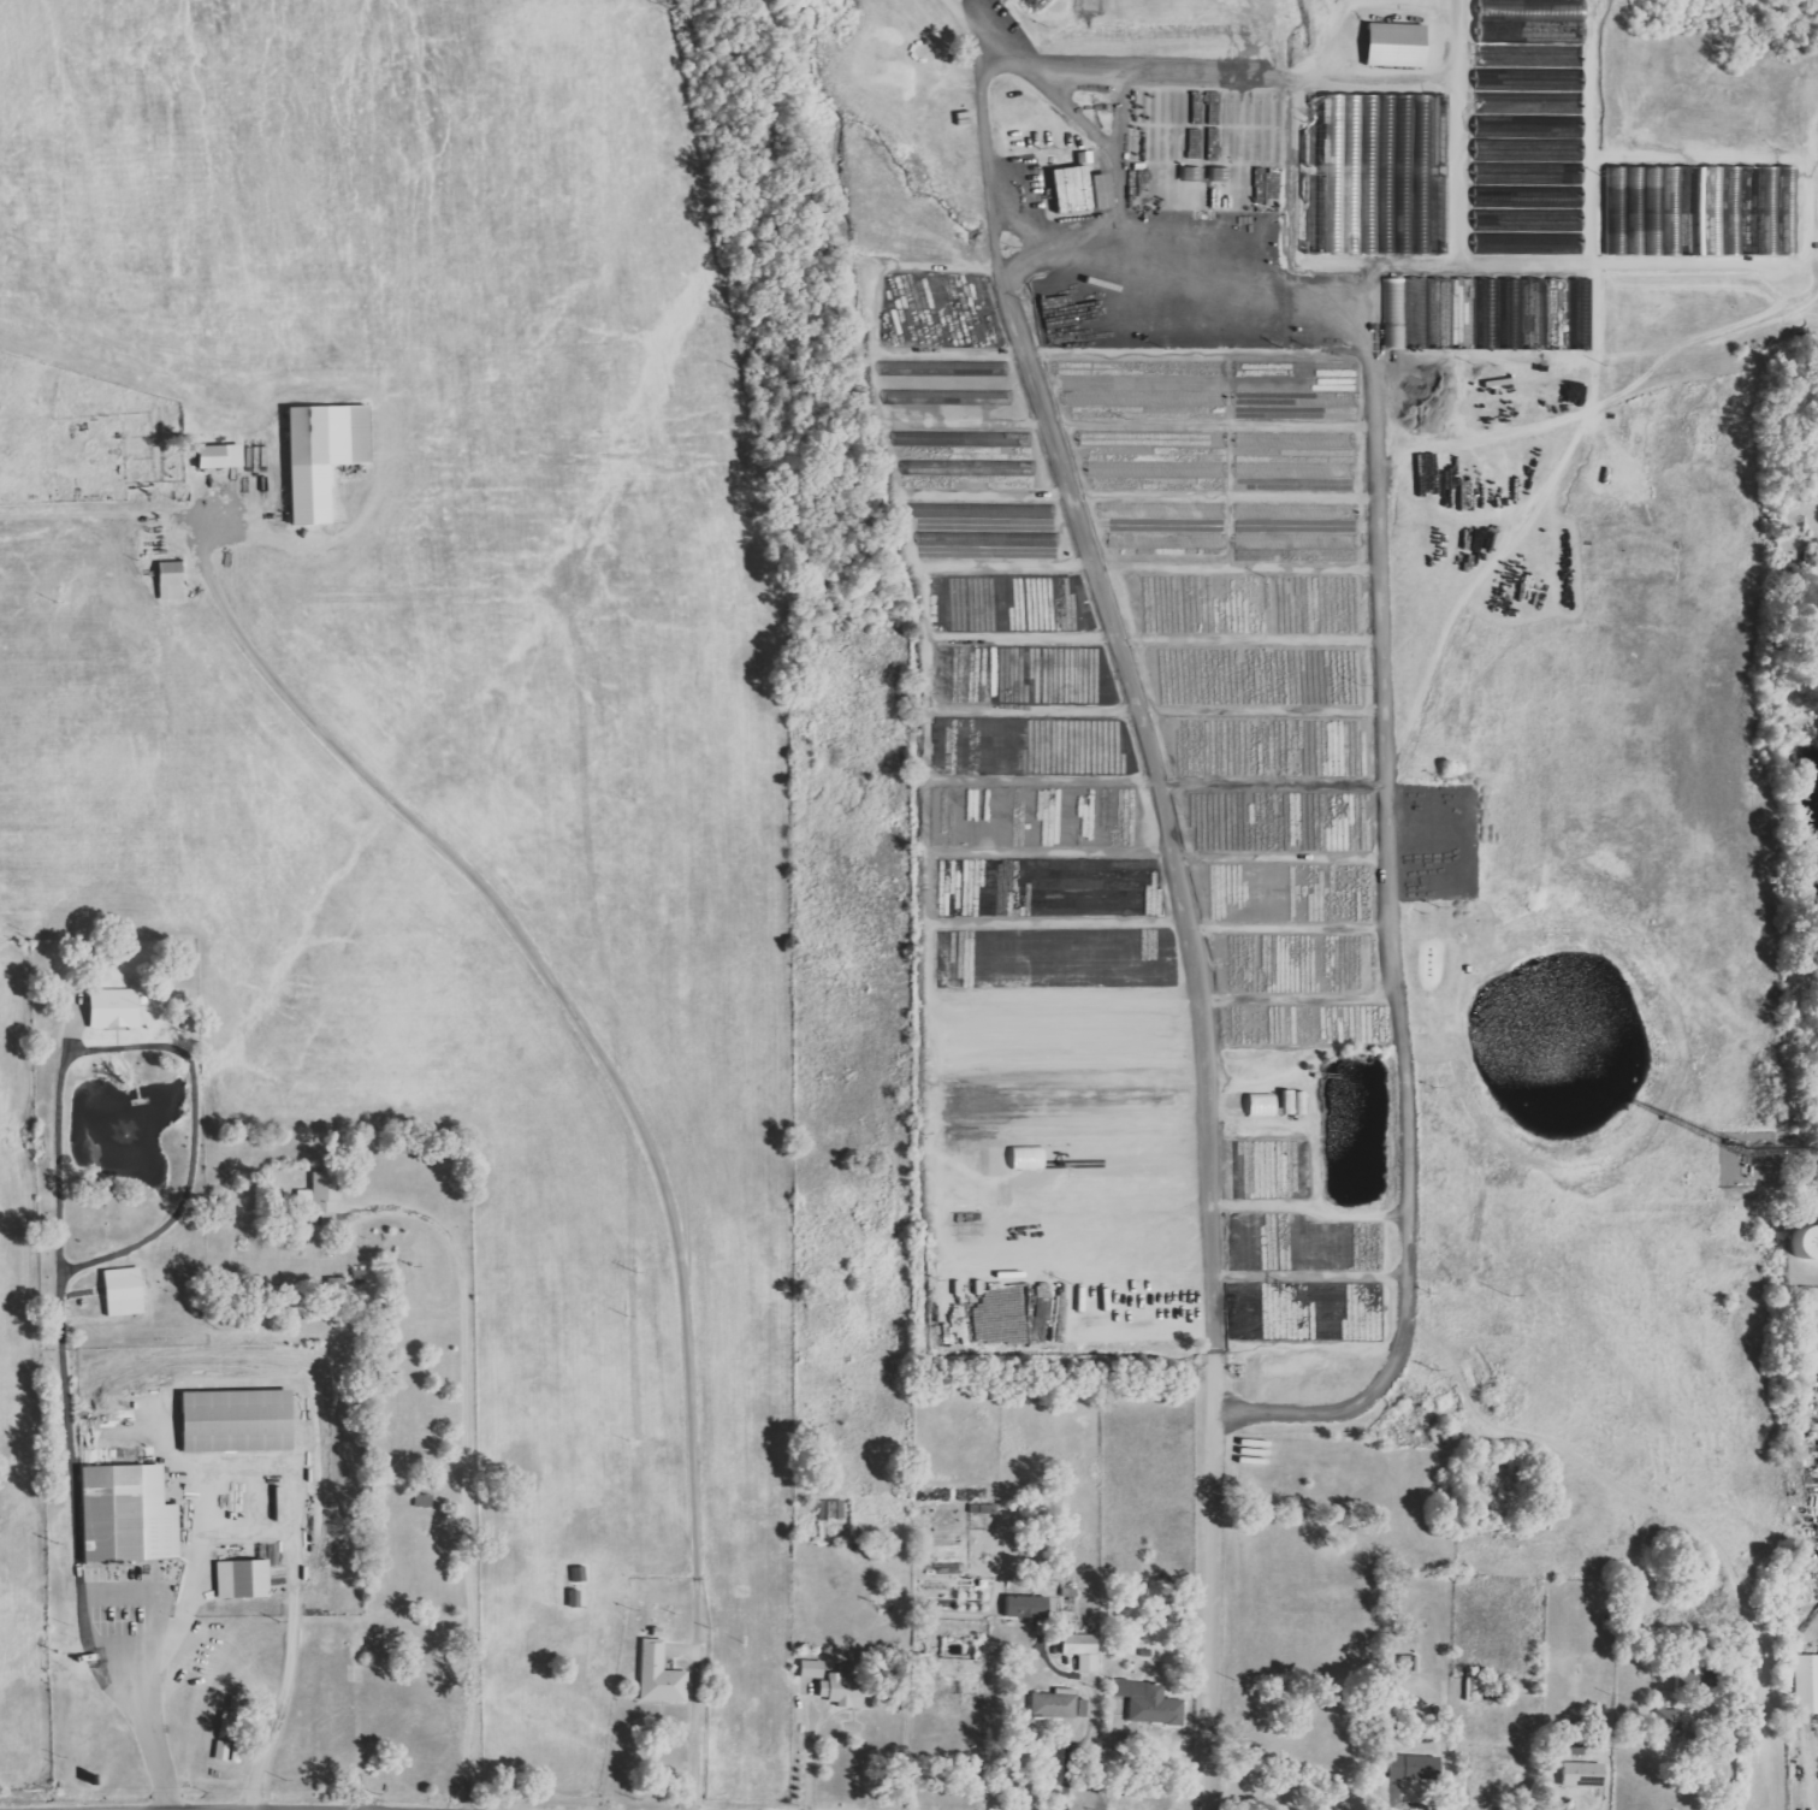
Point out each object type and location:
building: (1032, 1)
building: (1502, 7)
road: (967, 16)
building: (1403, 47)
road: (1260, 112)
road: (1118, 154)
building: (1533, 165)
building: (1381, 175)
building: (1078, 189)
building: (1108, 191)
building: (1706, 212)
building: (1491, 314)
building: (947, 368)
building: (966, 398)
building: (1154, 398)
building: (1298, 440)
building: (328, 455)
building: (225, 456)
building: (957, 468)
building: (1173, 471)
building: (1298, 472)
building: (990, 539)
building: (1208, 542)
building: (1340, 543)
building: (176, 581)
road: (1186, 907)
building: (119, 1008)
road: (591, 1033)
road: (161, 1047)
building: (1298, 1104)
building: (1267, 1106)
building: (331, 1191)
building: (1798, 1247)
building: (129, 1293)
road: (274, 1379)
building: (243, 1422)
road: (253, 1466)
road: (468, 1472)
building: (984, 1509)
building: (835, 1510)
building: (132, 1516)
road: (76, 1551)
building: (247, 1580)
building: (1030, 1608)
road: (1299, 1620)
building: (1086, 1651)
building: (816, 1670)
building: (664, 1676)
building: (1804, 1686)
building: (1478, 1690)
building: (851, 1691)
building: (1154, 1703)
building: (1059, 1704)
road: (1095, 1720)
road: (697, 1721)
building: (1672, 1722)
building: (230, 1737)
road: (809, 1762)
road: (1124, 1768)
building: (1419, 1768)
building: (1504, 1768)
building: (1587, 1775)
road: (1817, 1775)

